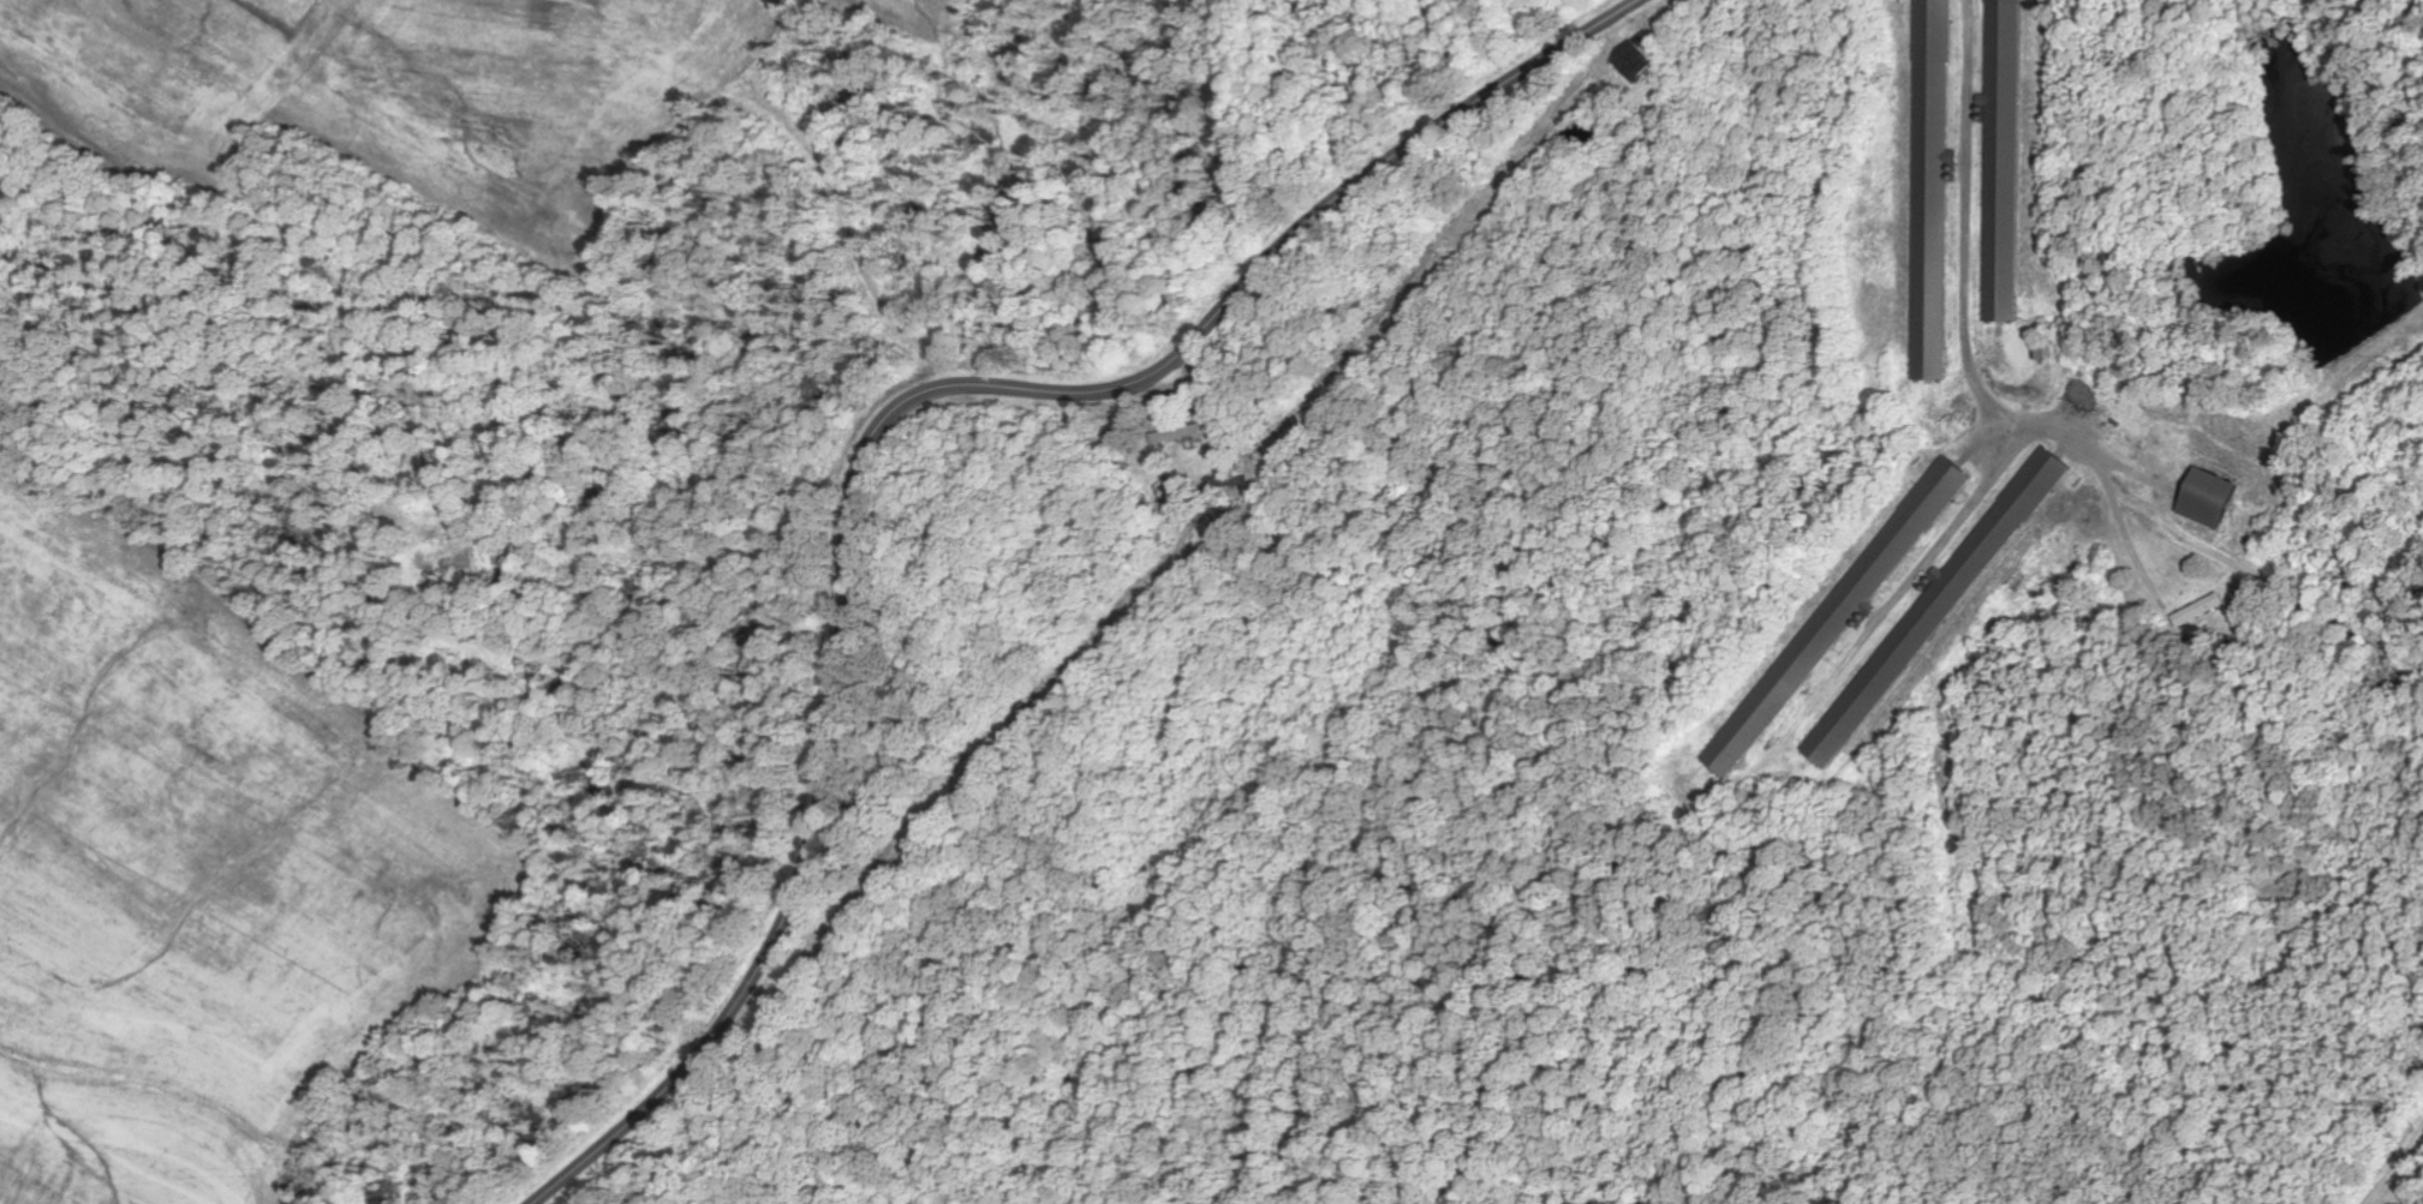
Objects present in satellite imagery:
building: (1641, 61)
building: (2006, 161)
building: (1934, 188)
road: (890, 423)
building: (1180, 435)
building: (2213, 498)
building: (1846, 607)
building: (2203, 610)
building: (1932, 617)

